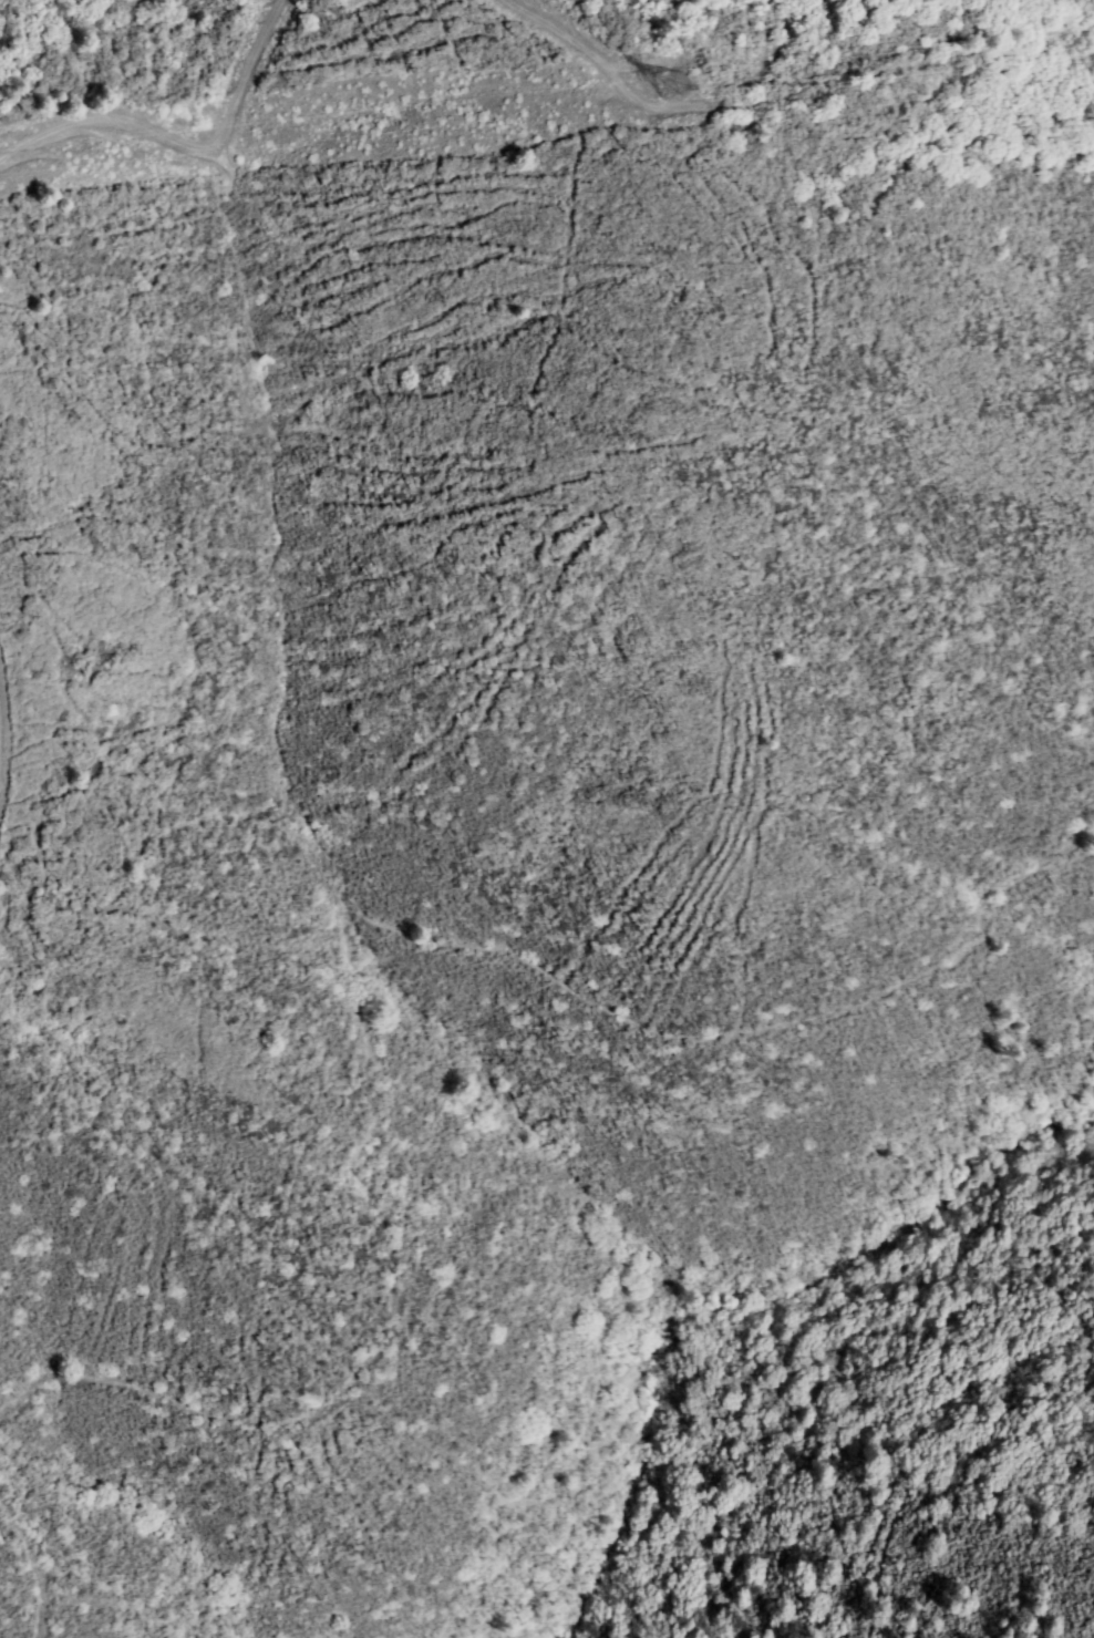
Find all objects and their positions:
power tower: (663, 86)

